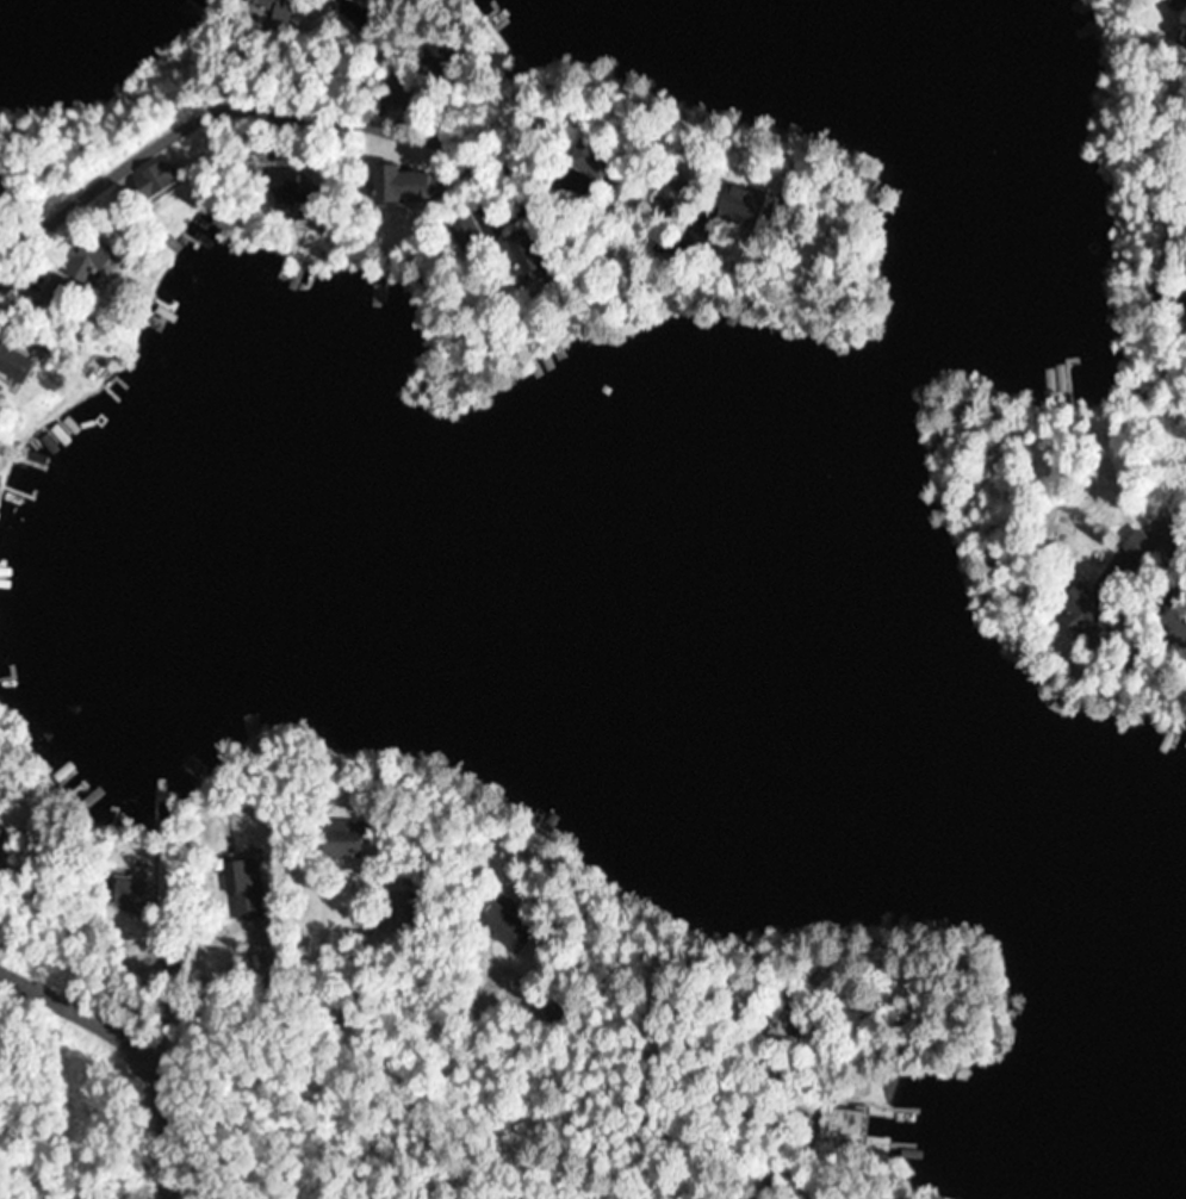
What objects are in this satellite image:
building: (265, 6)
building: (429, 60)
road: (213, 102)
building: (151, 180)
building: (390, 186)
building: (279, 191)
building: (654, 198)
building: (725, 211)
building: (507, 254)
building: (83, 263)
building: (12, 366)
building: (1138, 548)
road: (1155, 599)
building: (1078, 610)
building: (346, 838)
building: (1, 841)
building: (248, 888)
building: (128, 893)
building: (505, 926)
road: (439, 983)
road: (135, 1046)
building: (839, 1123)
road: (803, 1176)

